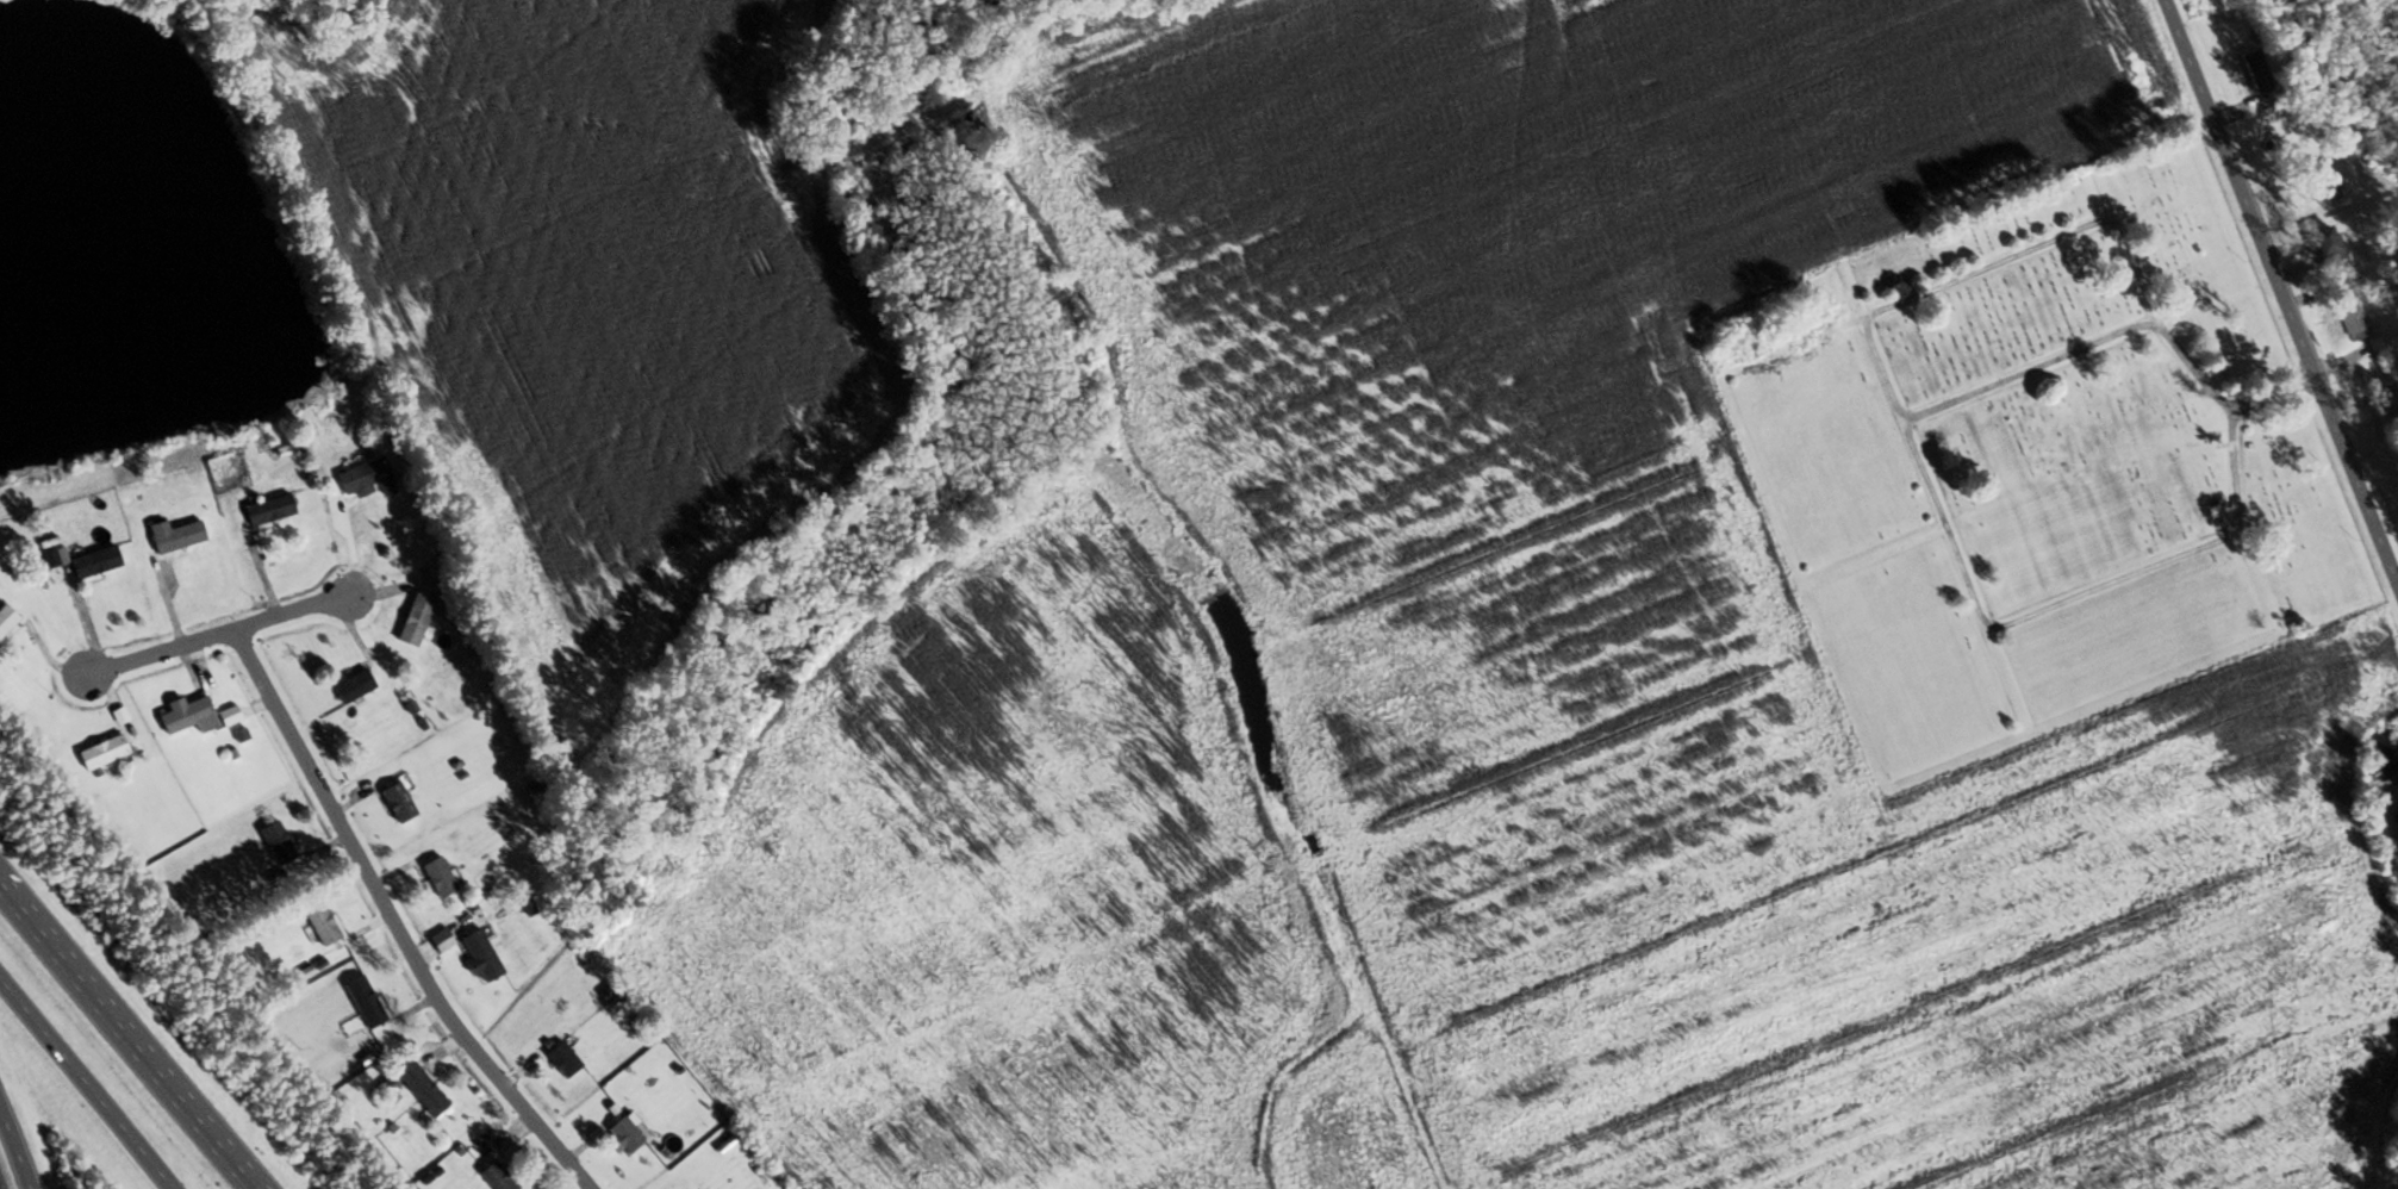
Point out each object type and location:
building: (2257, 73)
building: (2330, 193)
building: (2327, 243)
road: (2280, 295)
building: (2356, 322)
road: (2026, 380)
road: (1877, 398)
building: (2388, 398)
park: (2037, 462)
building: (369, 478)
building: (272, 509)
building: (179, 534)
building: (57, 558)
building: (99, 562)
building: (7, 620)
building: (418, 620)
road: (217, 634)
building: (355, 686)
building: (191, 716)
building: (106, 753)
building: (400, 803)
building: (280, 842)
building: (441, 877)
road: (391, 921)
building: (324, 925)
building: (482, 955)
building: (367, 1002)
road: (127, 1037)
building: (566, 1059)
road: (86, 1083)
building: (423, 1087)
building: (628, 1135)
road: (14, 1151)
building: (499, 1176)

